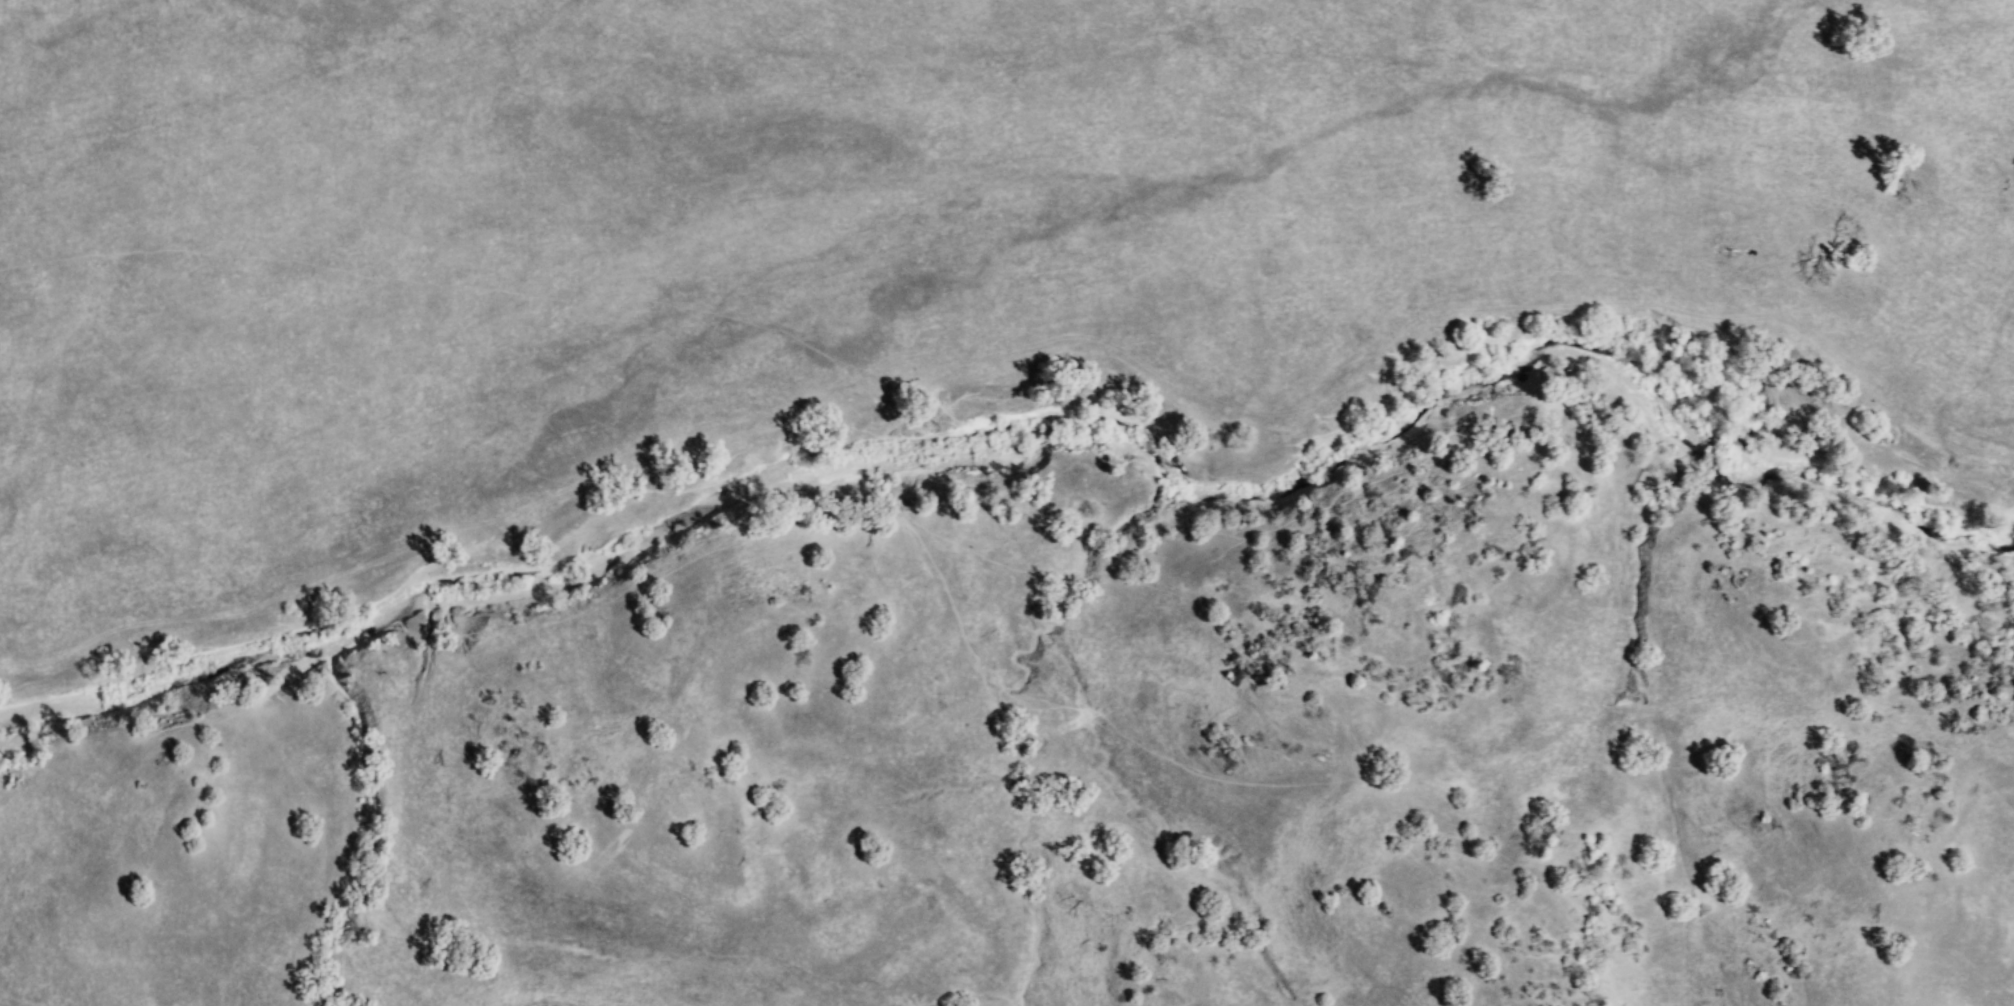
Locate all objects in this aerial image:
river: (1192, 500)
river: (168, 683)

